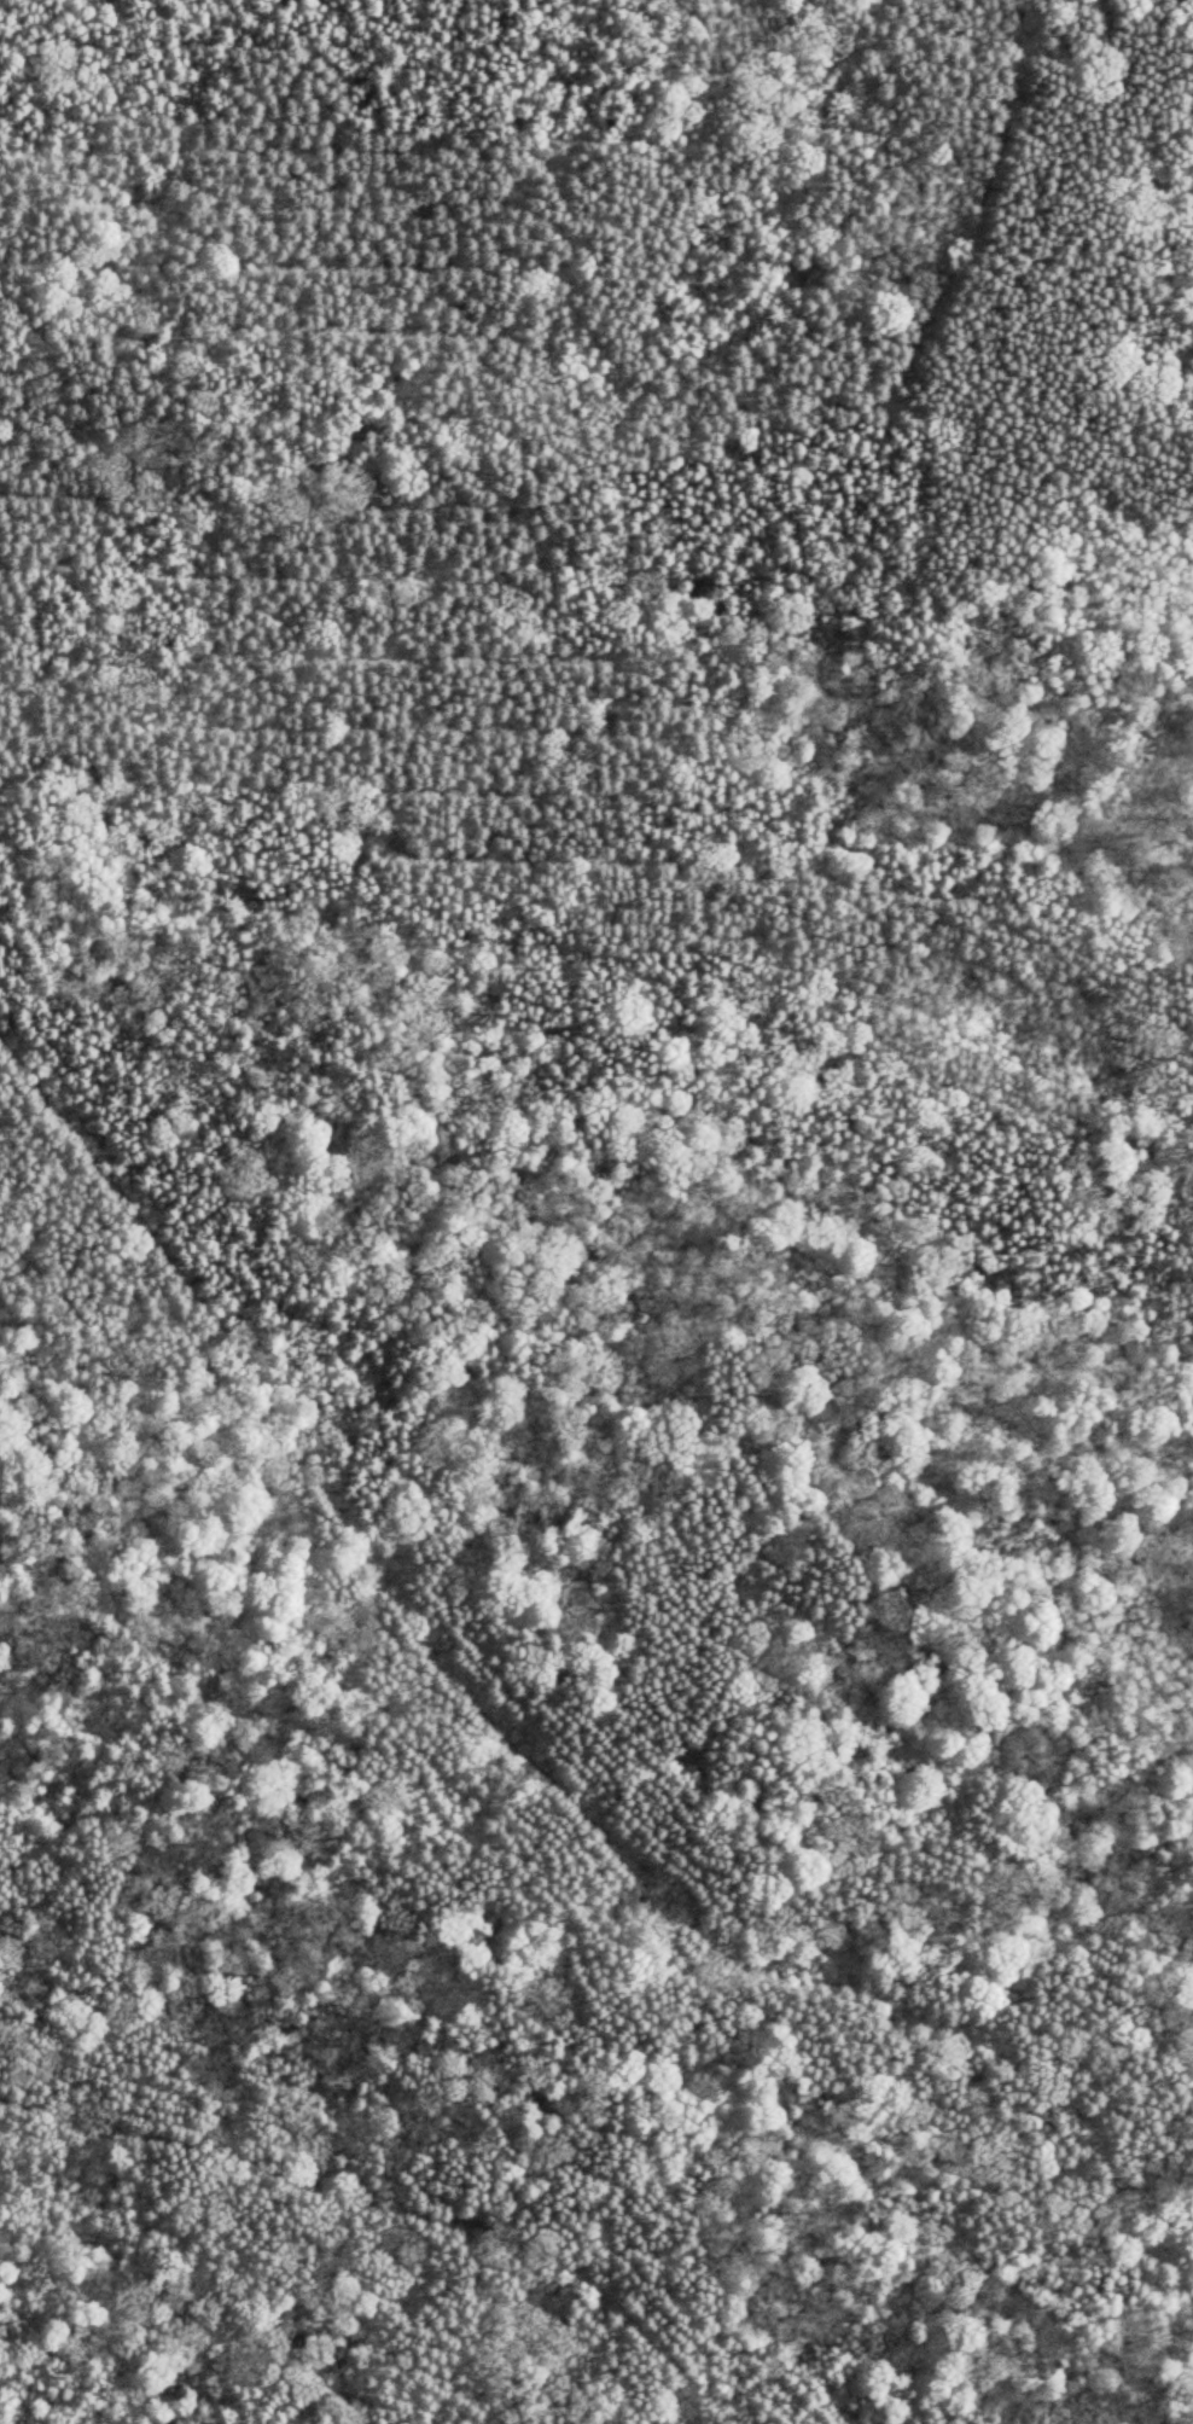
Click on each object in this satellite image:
road: (1075, 887)
road: (18, 1070)
road: (60, 1127)
park: (596, 1211)
road: (650, 1704)
road: (401, 2202)

